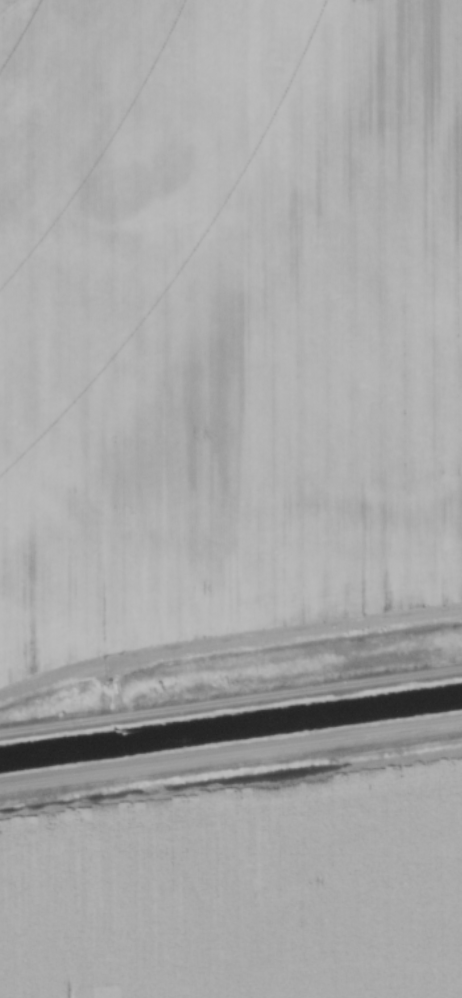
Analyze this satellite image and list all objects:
road: (231, 753)
crop: (243, 892)

